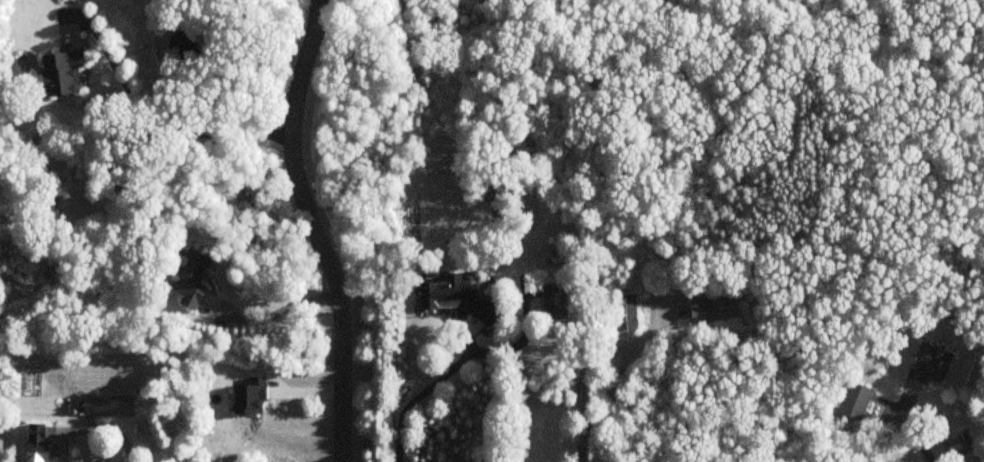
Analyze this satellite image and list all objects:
building: (61, 74)
road: (157, 119)
road: (315, 230)
building: (189, 279)
building: (456, 297)
building: (553, 303)
road: (276, 306)
building: (713, 309)
building: (624, 313)
building: (930, 365)
road: (615, 383)
road: (422, 392)
building: (854, 402)
building: (108, 406)
road: (94, 430)
road: (915, 436)
building: (36, 443)

